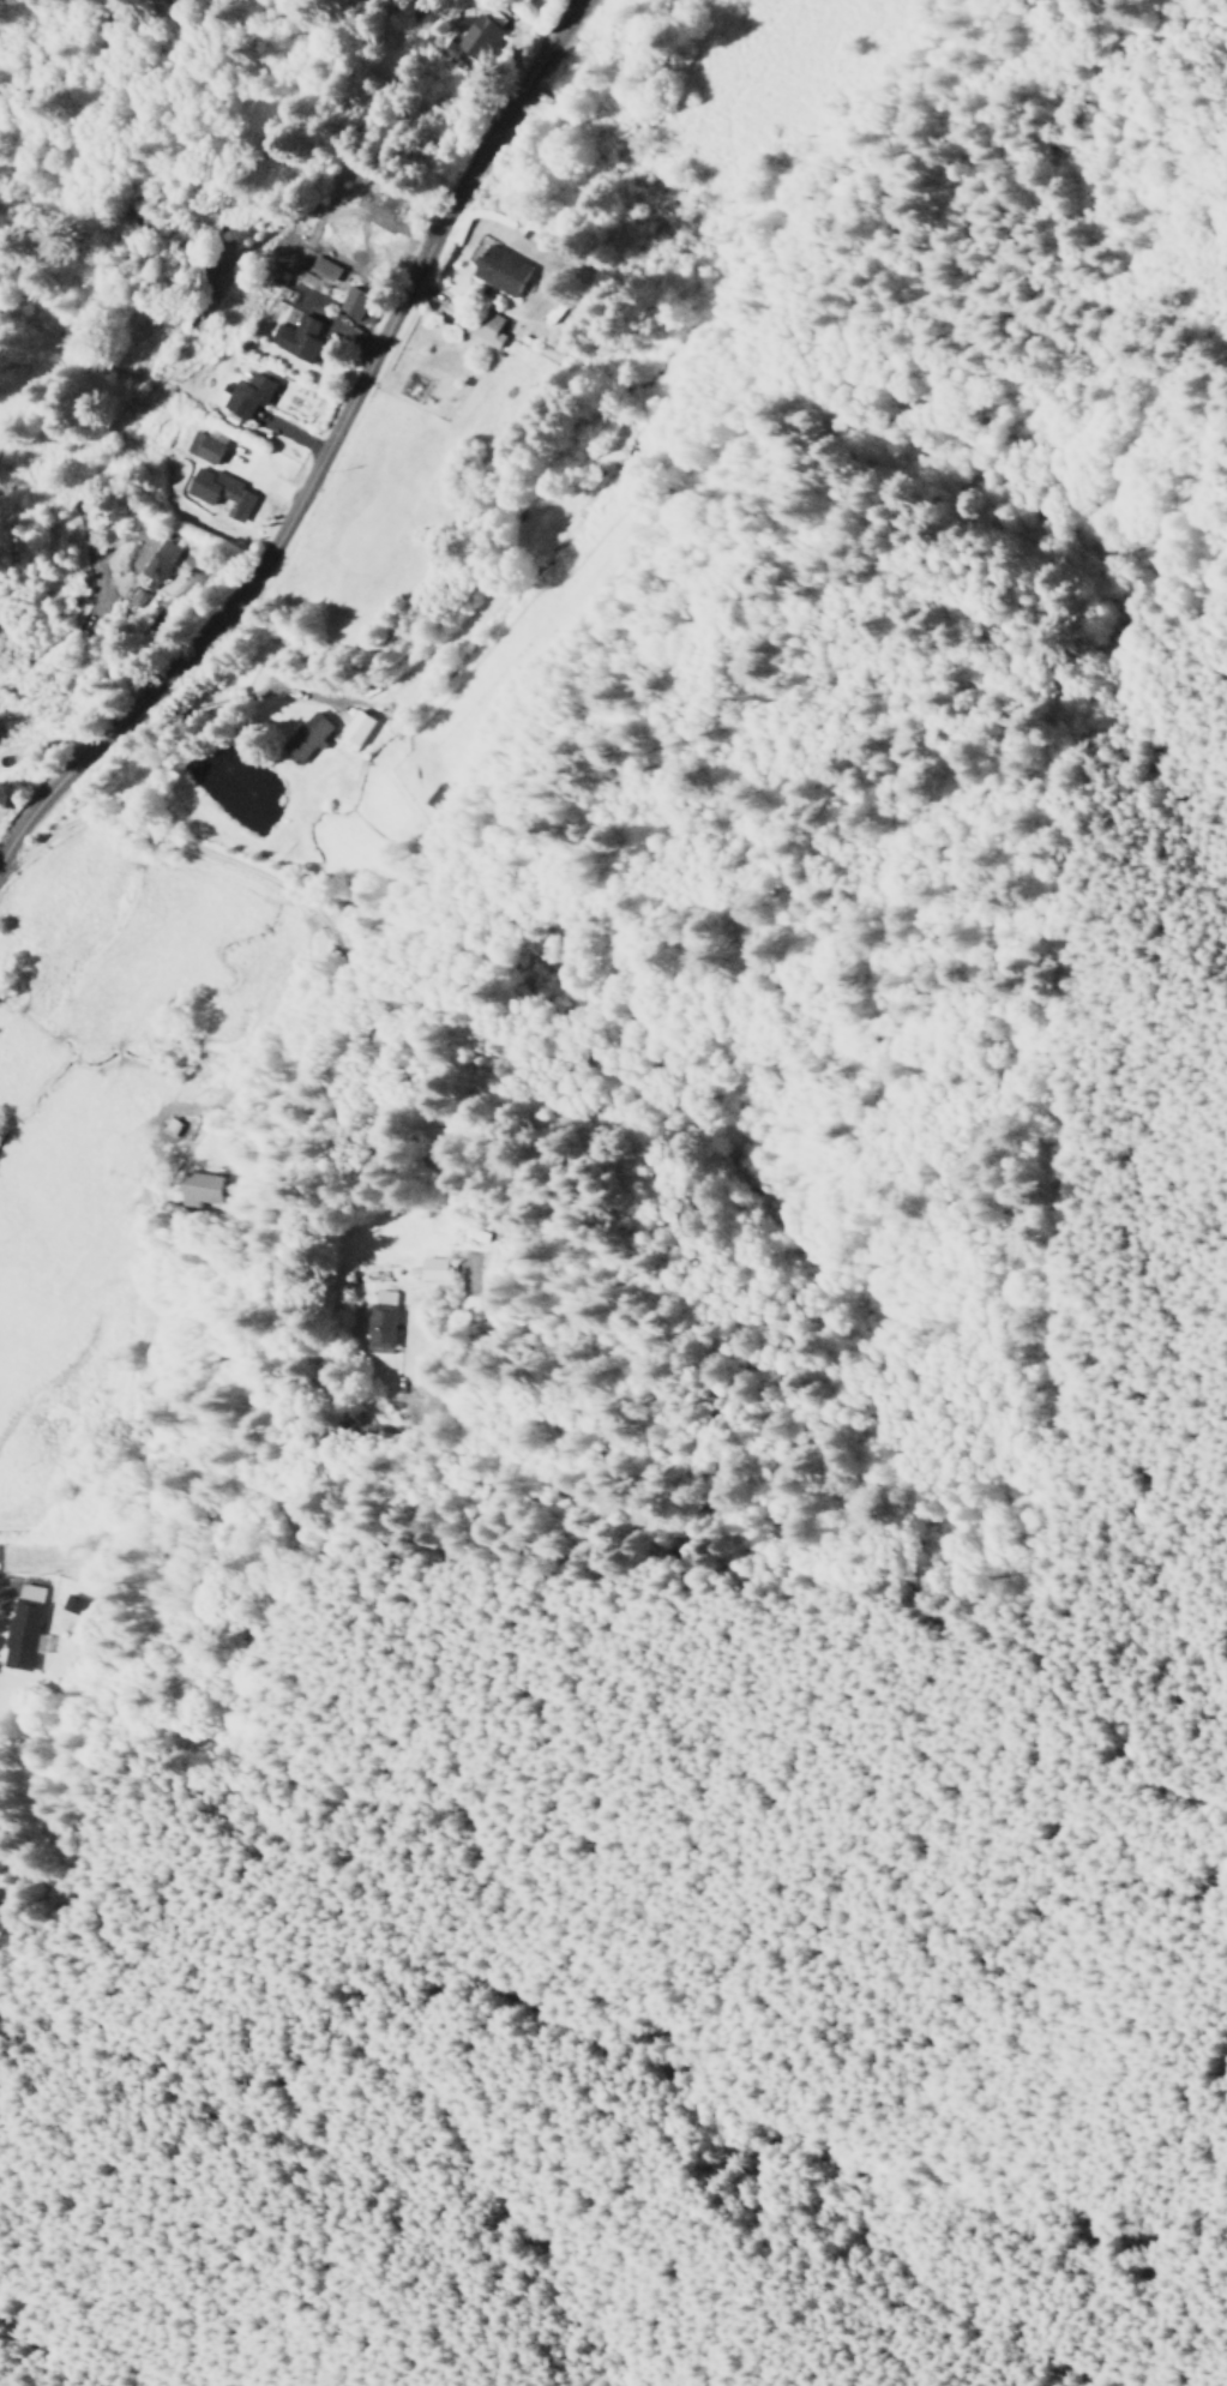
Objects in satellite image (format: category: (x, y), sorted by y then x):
building: (476, 38)
building: (499, 271)
building: (355, 302)
building: (479, 325)
building: (297, 338)
road: (359, 375)
building: (248, 395)
building: (204, 449)
building: (221, 493)
building: (158, 565)
road: (222, 702)
building: (357, 732)
building: (307, 738)
road: (46, 783)
road: (290, 894)
building: (168, 1128)
building: (181, 1191)
building: (432, 1269)
building: (381, 1320)
building: (22, 1628)

